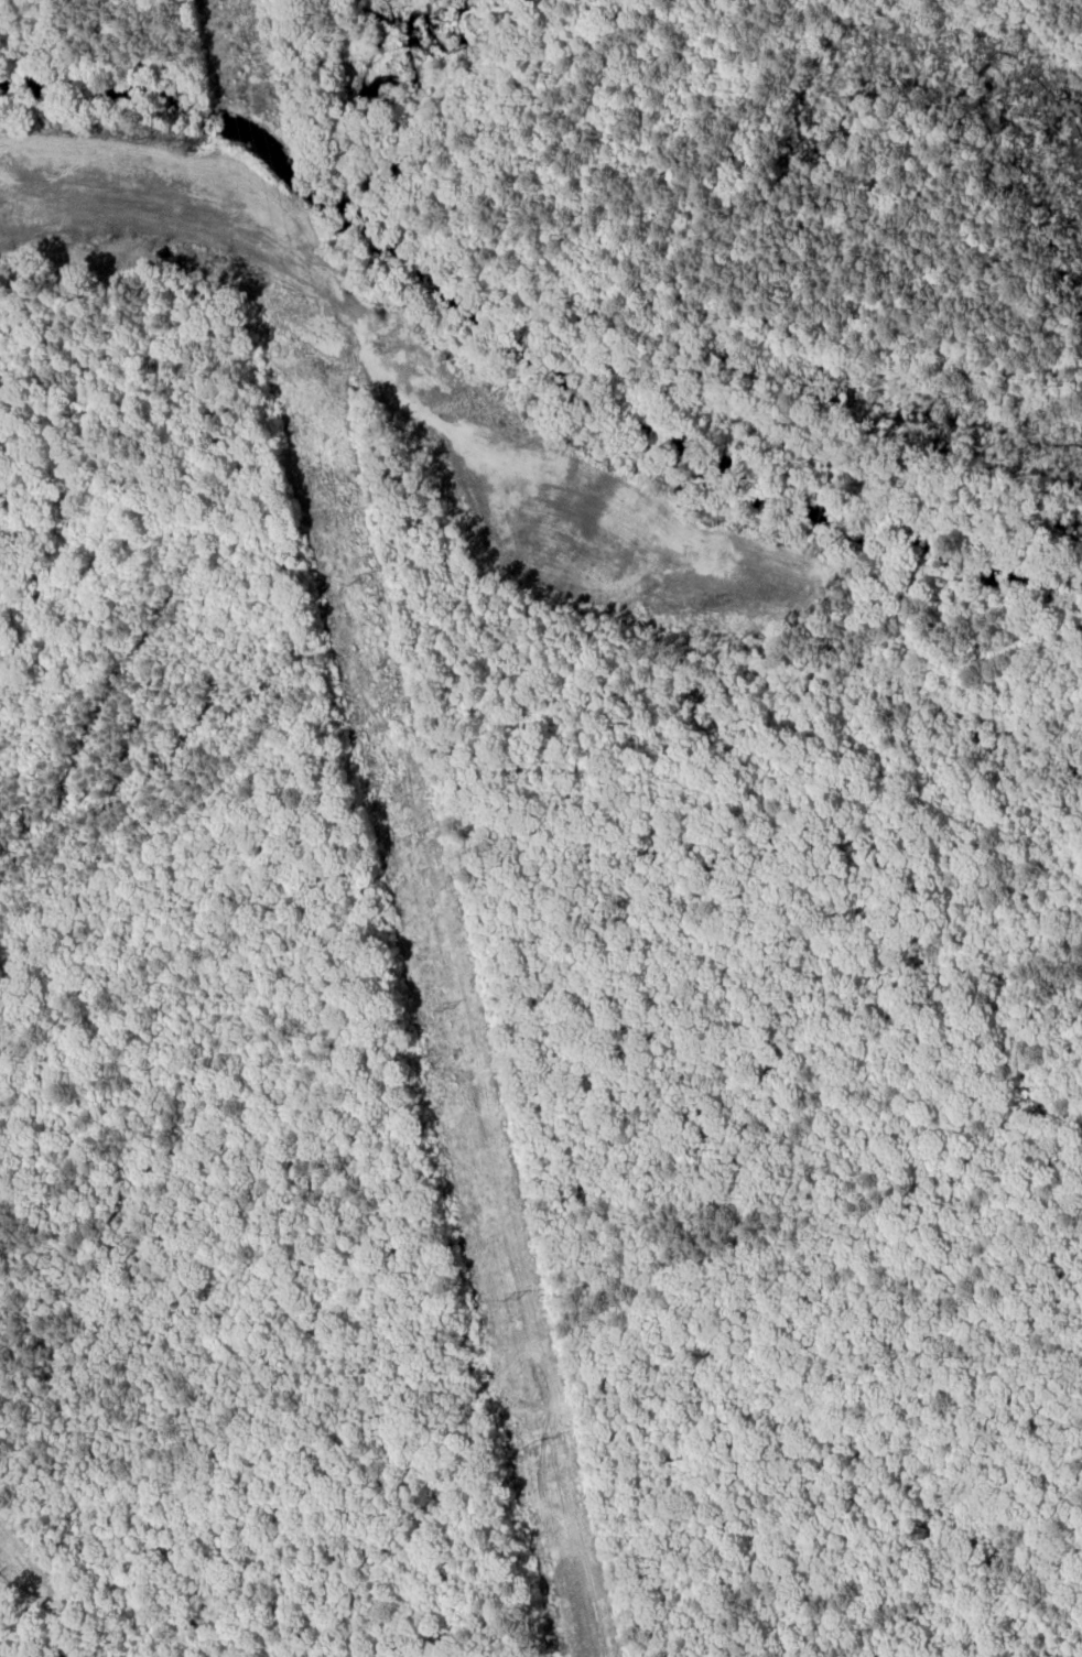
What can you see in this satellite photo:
river: (521, 337)
power tower: (348, 584)
power tower: (436, 1009)
power tower: (512, 1299)

